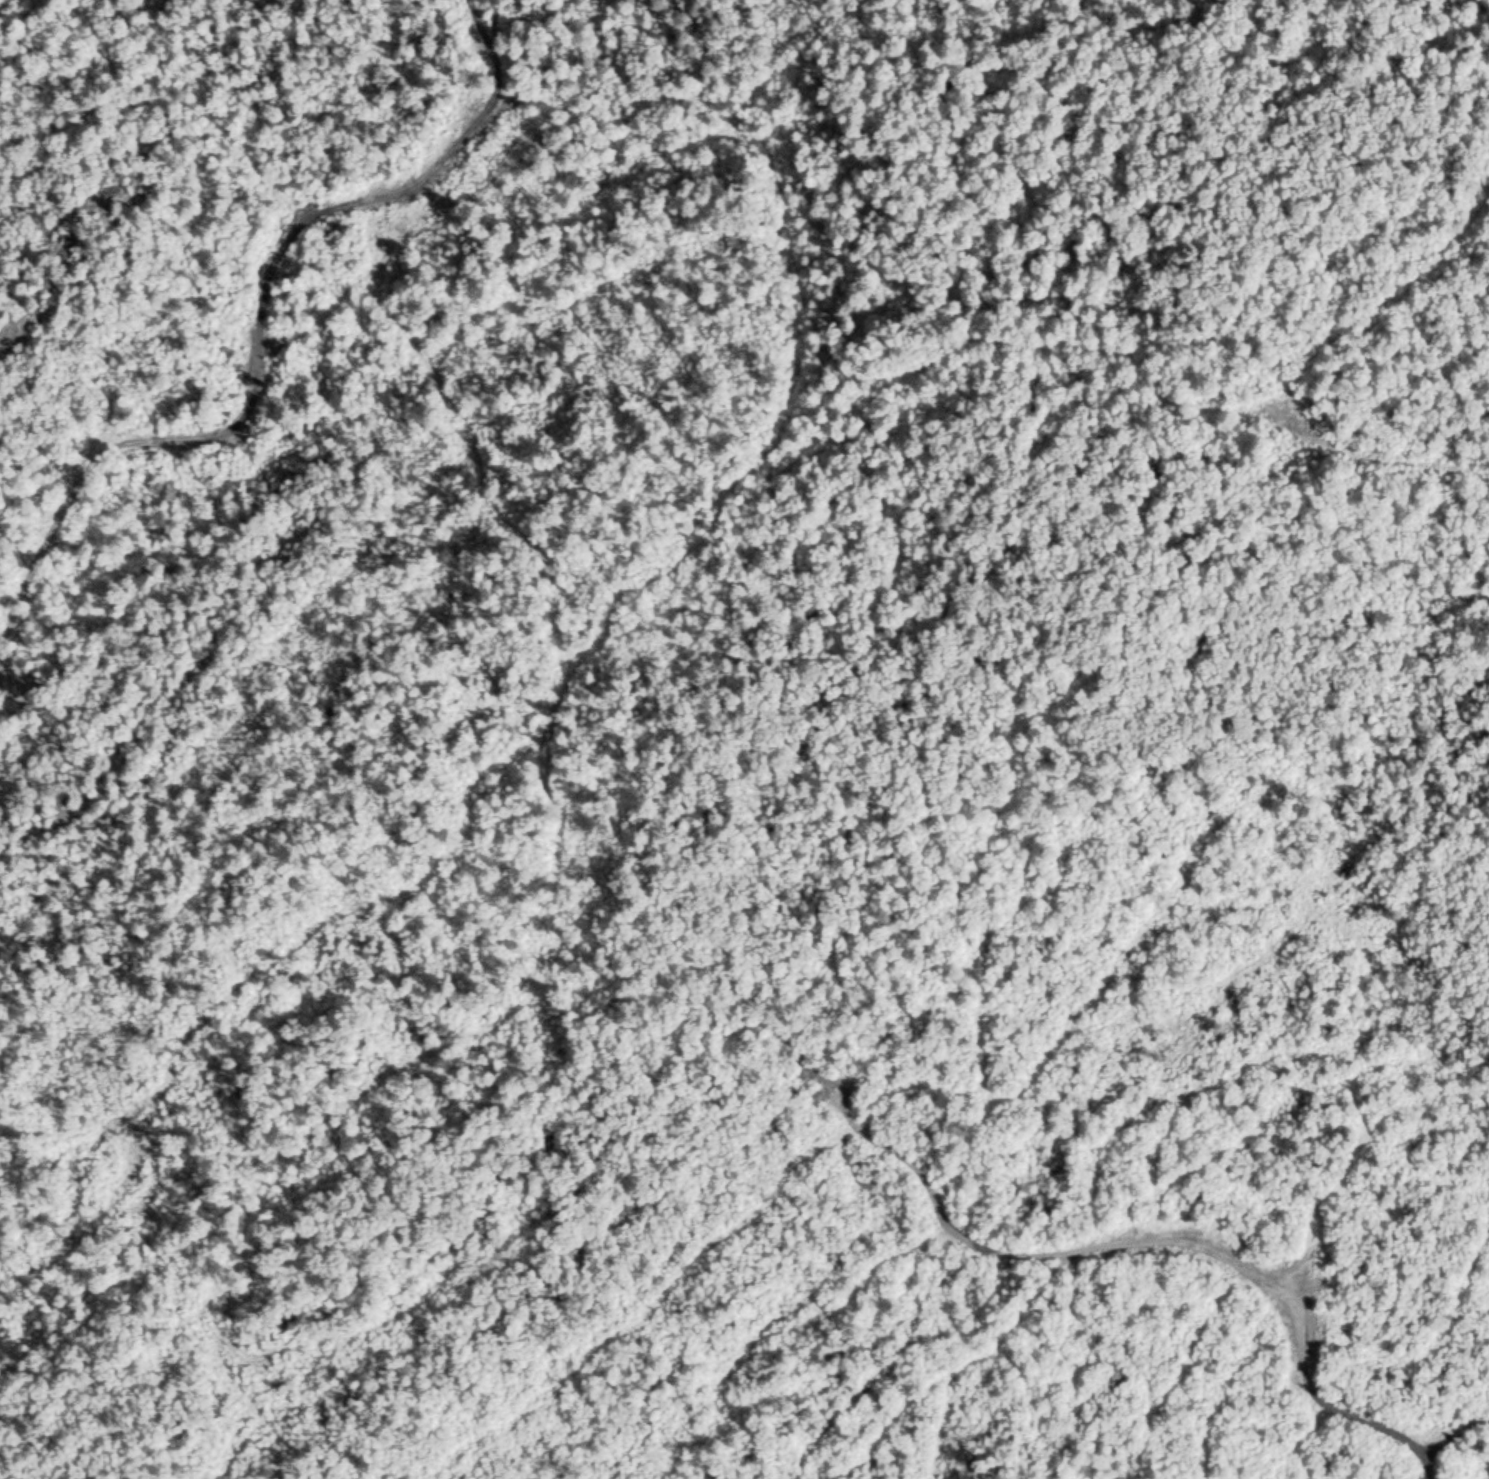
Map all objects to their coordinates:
road: (495, 88)
road: (1245, 1264)
road: (1428, 1458)

